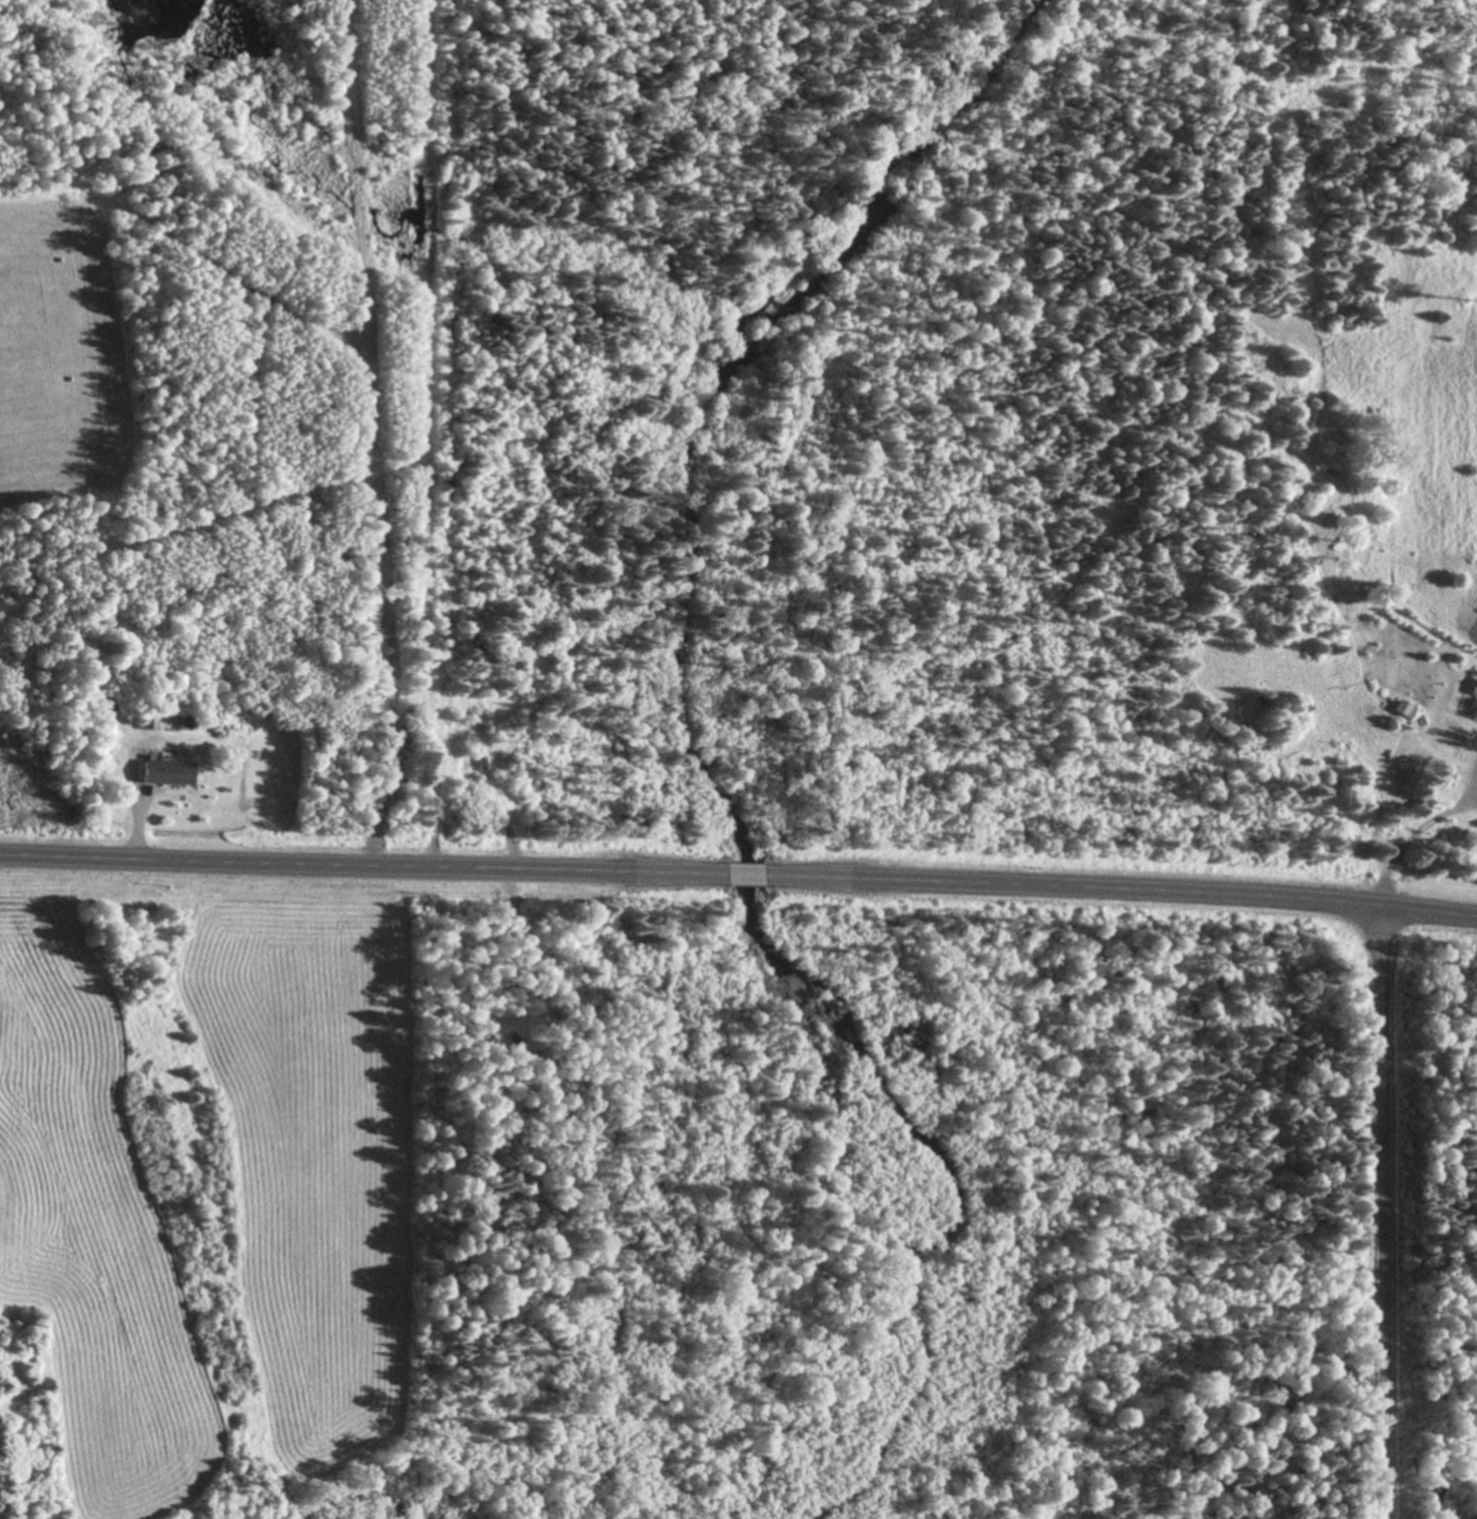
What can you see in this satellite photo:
building: (1474, 688)
building: (153, 721)
building: (182, 723)
building: (1437, 730)
building: (464, 771)
building: (164, 773)
road: (1421, 825)
road: (133, 831)
road: (358, 864)
road: (744, 875)
road: (1124, 889)
road: (1378, 1211)

